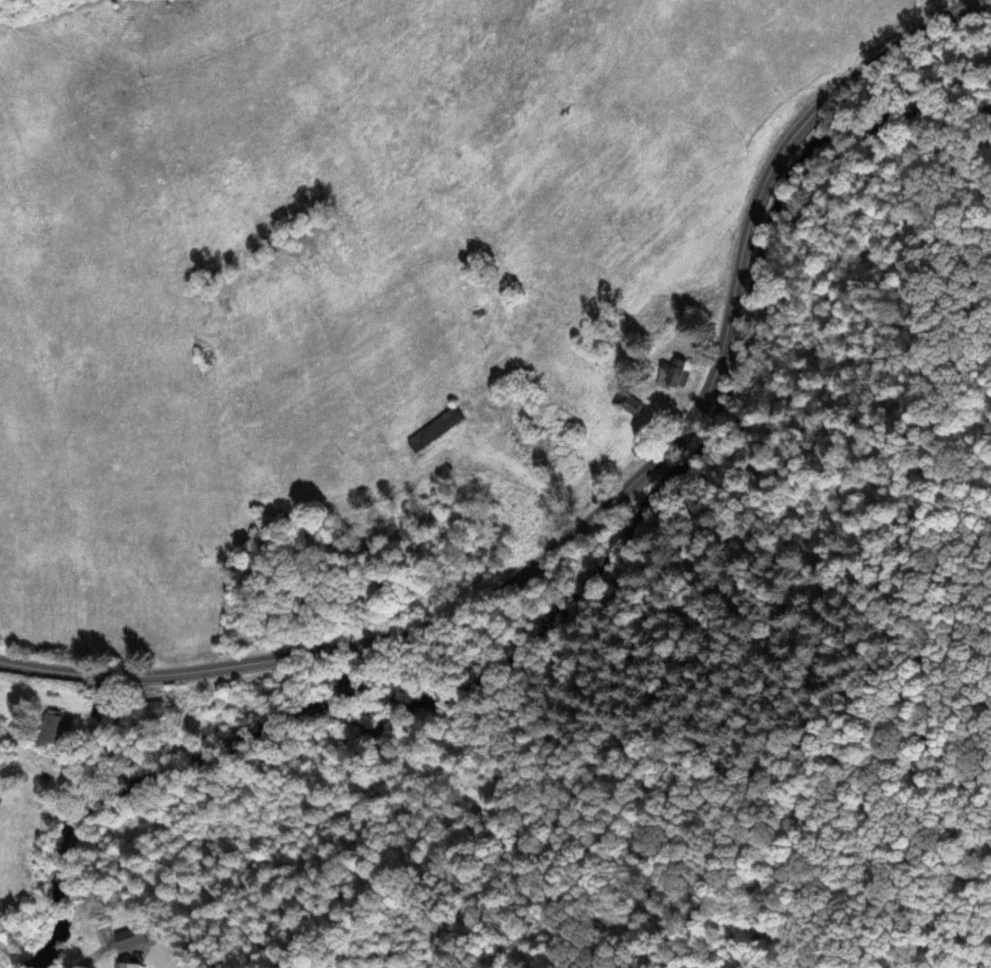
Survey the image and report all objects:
building: (673, 375)
building: (633, 406)
building: (443, 425)
road: (618, 503)
road: (8, 663)
building: (137, 718)
building: (55, 733)
building: (128, 966)

